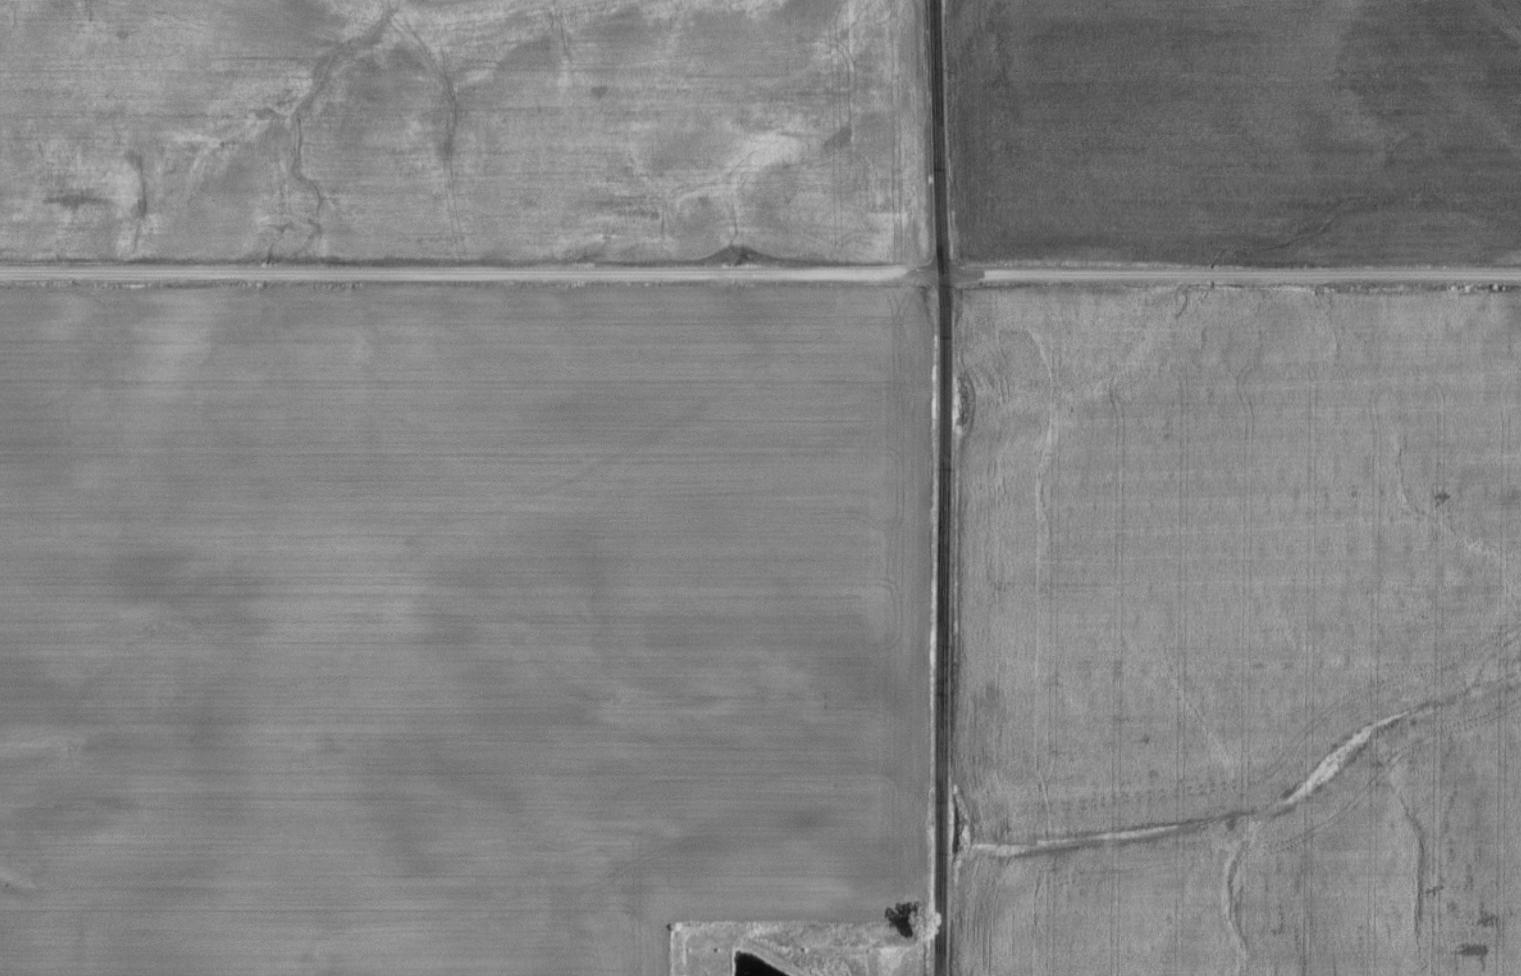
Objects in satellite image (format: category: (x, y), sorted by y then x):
road: (760, 276)
road: (947, 487)

